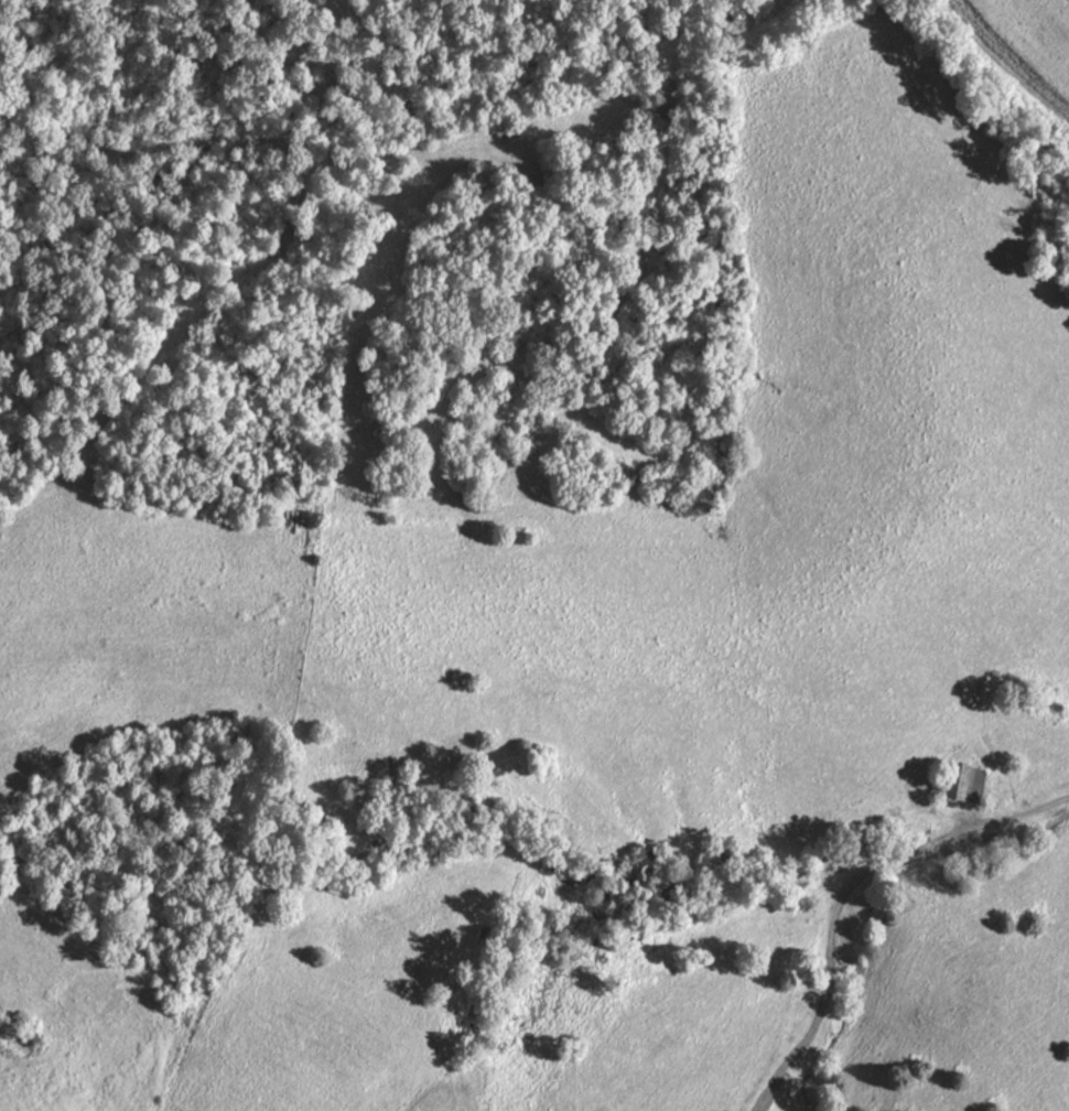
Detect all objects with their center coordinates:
road: (852, 896)

